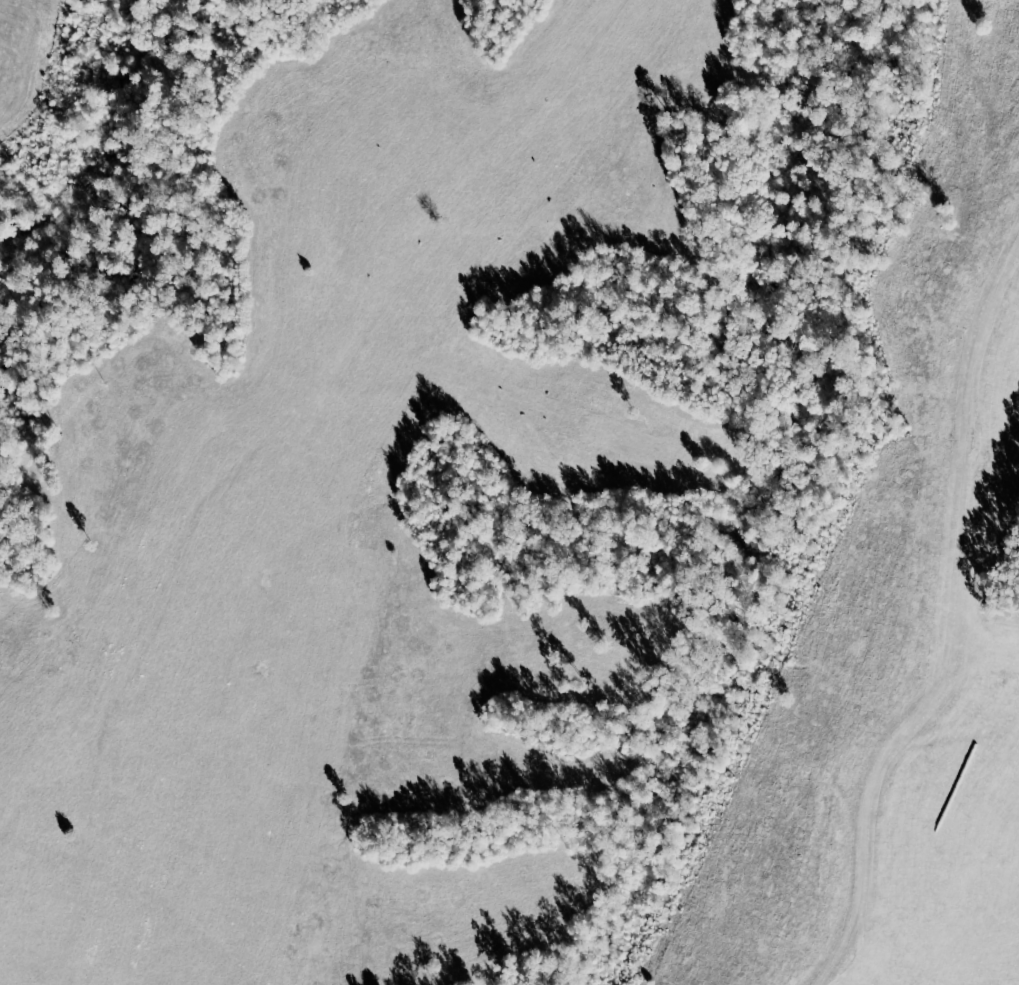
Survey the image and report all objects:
road: (959, 630)

